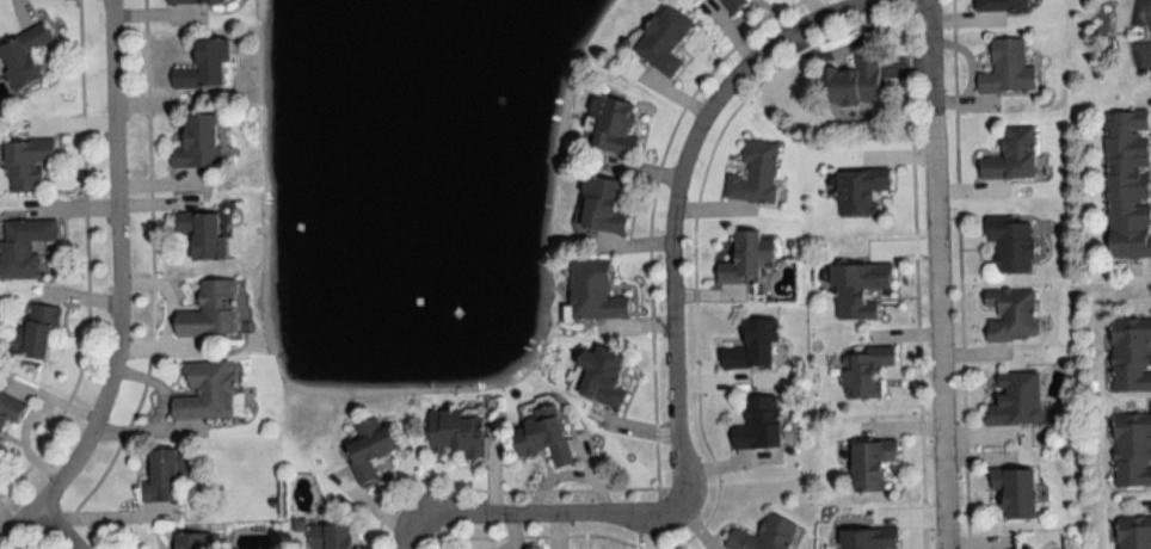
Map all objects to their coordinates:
building: (195, 1)
building: (1001, 5)
building: (661, 39)
building: (23, 55)
building: (203, 66)
building: (1007, 69)
building: (853, 81)
building: (611, 125)
building: (196, 142)
building: (1011, 156)
building: (26, 165)
building: (753, 173)
building: (1127, 184)
building: (858, 191)
building: (599, 206)
building: (201, 235)
building: (1010, 246)
building: (21, 247)
building: (746, 258)
road: (936, 273)
road: (116, 288)
building: (858, 290)
building: (592, 292)
building: (208, 310)
building: (1010, 315)
road: (671, 317)
building: (36, 332)
building: (752, 347)
building: (1131, 354)
building: (863, 372)
building: (602, 376)
building: (207, 391)
building: (1016, 399)
building: (8, 411)
building: (758, 425)
building: (456, 433)
building: (541, 436)
building: (368, 448)
building: (1132, 454)
building: (869, 464)
building: (160, 476)
building: (1015, 491)
road: (51, 528)
building: (1133, 533)
building: (764, 535)
building: (331, 536)
building: (869, 538)
building: (189, 541)

